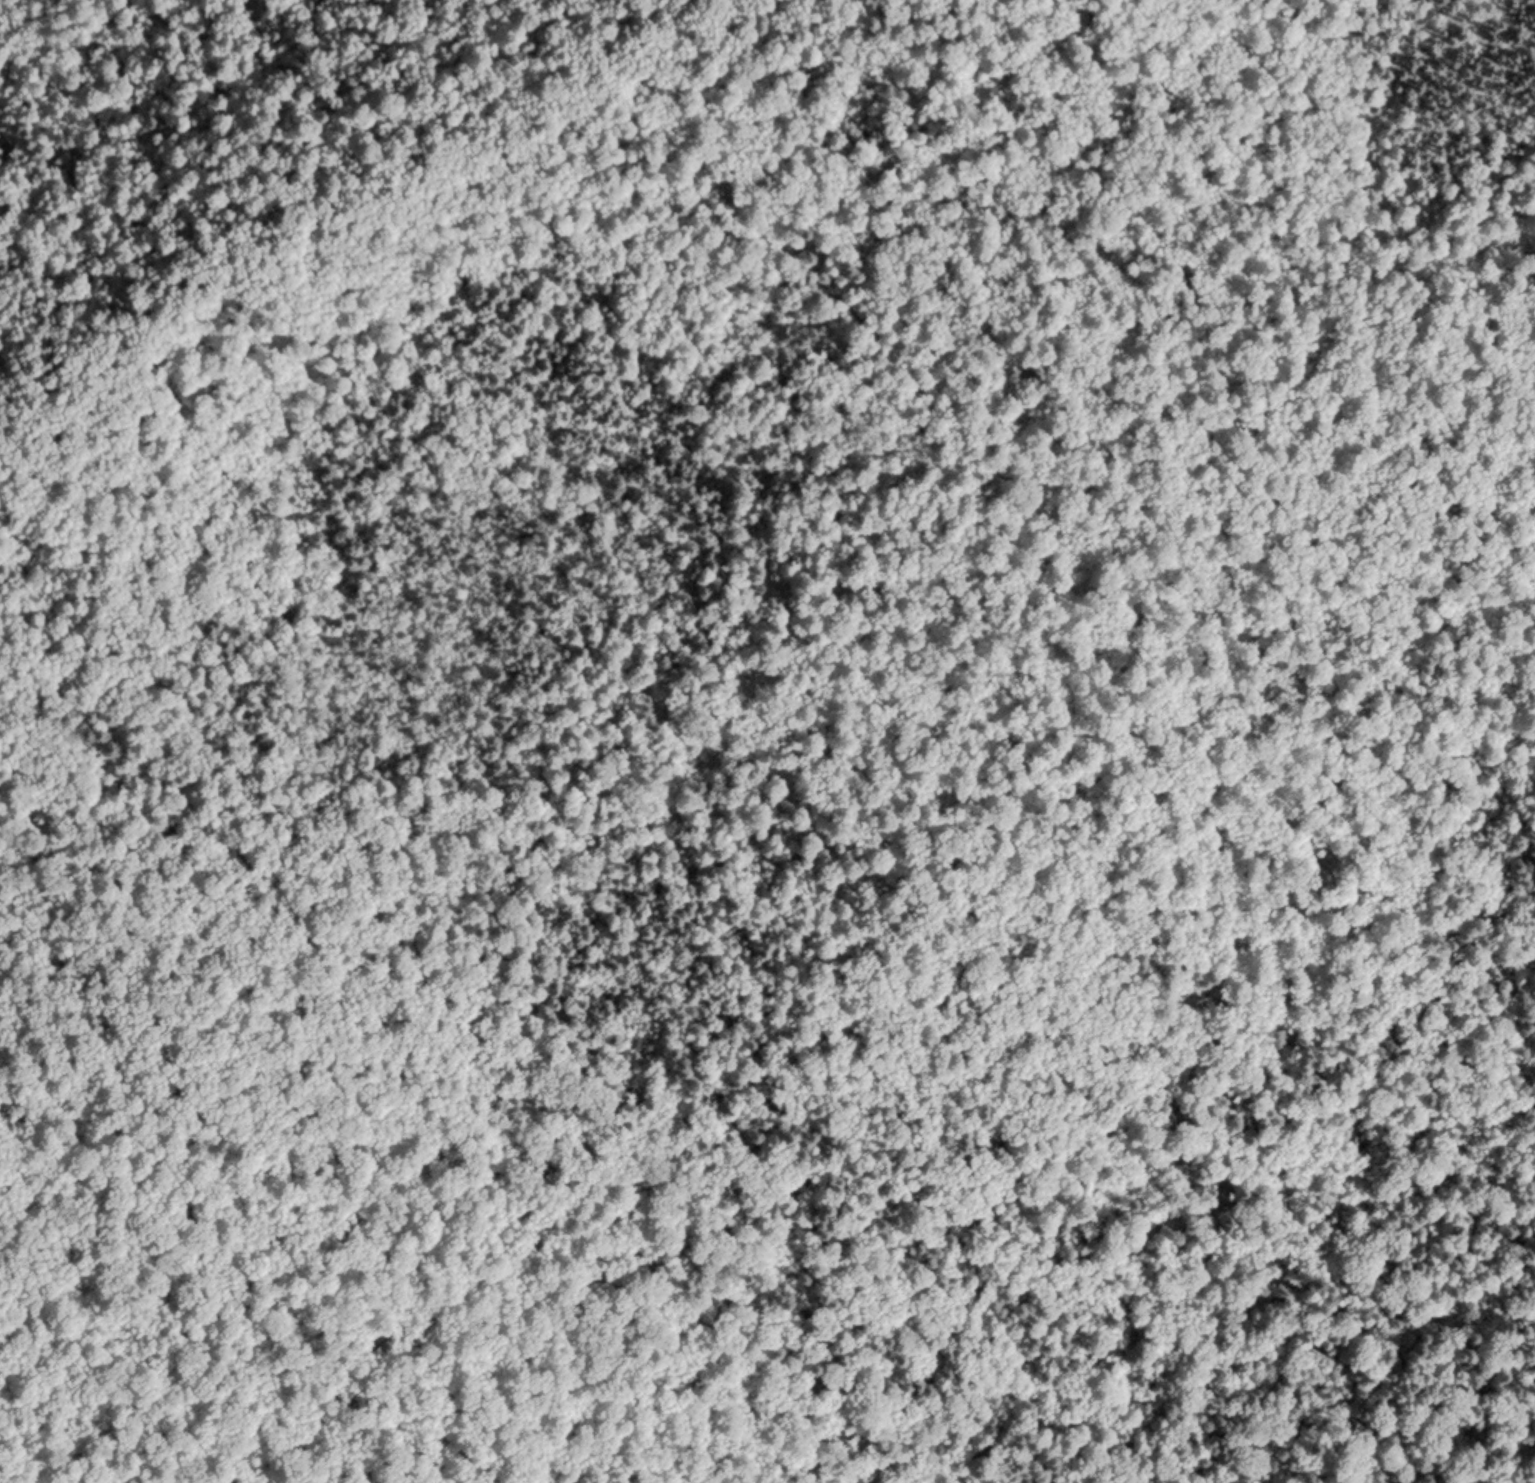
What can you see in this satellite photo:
road: (727, 304)

